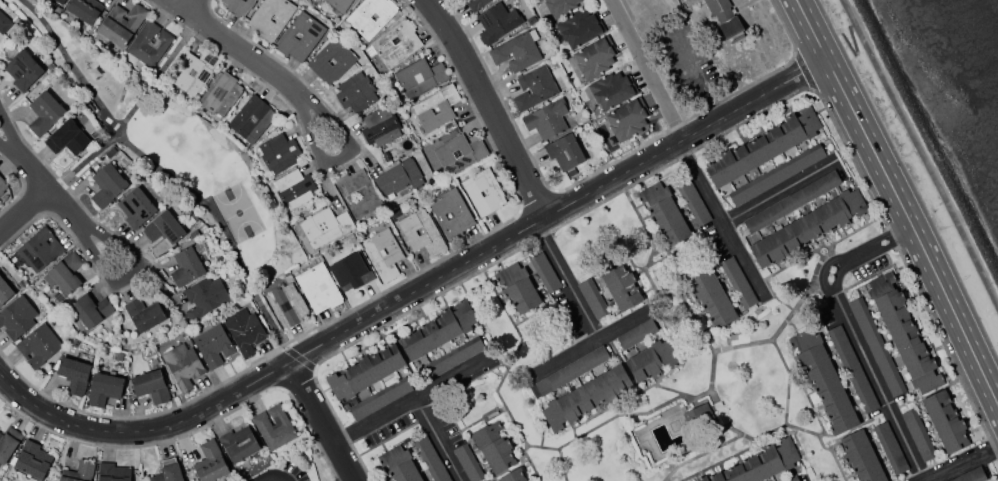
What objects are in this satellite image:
building: (60, 1)
road: (204, 3)
road: (190, 4)
building: (339, 4)
building: (476, 4)
building: (237, 6)
building: (560, 7)
building: (85, 9)
building: (371, 16)
building: (271, 17)
building: (726, 19)
building: (4, 21)
building: (122, 22)
building: (497, 22)
building: (579, 28)
building: (533, 34)
building: (300, 36)
building: (396, 43)
building: (149, 44)
road: (234, 44)
building: (516, 51)
building: (596, 57)
building: (318, 62)
building: (51, 66)
building: (23, 69)
road: (647, 69)
road: (803, 69)
building: (196, 71)
road: (699, 73)
building: (420, 76)
building: (537, 87)
building: (611, 89)
building: (356, 91)
building: (221, 92)
road: (489, 105)
building: (435, 109)
building: (45, 111)
road: (130, 111)
building: (252, 118)
building: (547, 118)
building: (627, 120)
building: (380, 126)
building: (68, 137)
building: (763, 146)
park: (174, 148)
building: (458, 152)
building: (564, 152)
building: (278, 153)
road: (339, 154)
road: (851, 157)
road: (605, 165)
road: (159, 169)
building: (413, 172)
building: (571, 172)
road: (326, 173)
building: (777, 174)
road: (39, 178)
building: (391, 178)
road: (22, 182)
building: (107, 184)
building: (2, 185)
building: (296, 190)
building: (484, 191)
road: (778, 192)
building: (359, 194)
building: (400, 195)
road: (33, 199)
building: (691, 199)
road: (536, 200)
building: (792, 201)
road: (899, 203)
building: (136, 207)
road: (23, 209)
park: (237, 211)
building: (663, 211)
building: (452, 212)
road: (720, 220)
building: (326, 226)
building: (163, 227)
building: (808, 227)
building: (421, 232)
building: (194, 233)
road: (892, 236)
building: (41, 248)
road: (813, 249)
building: (383, 253)
road: (504, 254)
road: (823, 256)
road: (149, 257)
building: (187, 266)
building: (352, 270)
building: (545, 270)
building: (64, 272)
road: (126, 274)
road: (648, 279)
road: (567, 280)
building: (738, 282)
building: (516, 283)
road: (810, 284)
building: (621, 285)
building: (318, 287)
building: (5, 291)
road: (415, 291)
building: (205, 297)
building: (592, 297)
building: (711, 297)
road: (365, 300)
building: (287, 304)
building: (91, 309)
building: (826, 312)
building: (144, 314)
road: (508, 315)
building: (17, 316)
building: (438, 330)
building: (245, 331)
building: (637, 333)
building: (904, 333)
road: (853, 334)
building: (129, 340)
building: (75, 342)
building: (111, 342)
building: (39, 344)
building: (214, 345)
road: (593, 345)
building: (876, 346)
road: (946, 351)
building: (118, 356)
road: (299, 357)
building: (453, 357)
building: (653, 359)
building: (183, 366)
building: (852, 368)
building: (571, 370)
building: (365, 371)
building: (75, 374)
road: (296, 378)
building: (151, 385)
building: (105, 388)
building: (828, 388)
road: (710, 391)
road: (786, 395)
building: (588, 396)
building: (381, 398)
road: (409, 403)
road: (507, 410)
building: (696, 411)
road: (615, 415)
building: (945, 421)
road: (323, 422)
building: (274, 426)
road: (193, 429)
building: (916, 430)
road: (440, 440)
building: (8, 442)
building: (239, 444)
building: (493, 445)
road: (541, 446)
building: (890, 448)
road: (699, 453)
building: (861, 456)
building: (431, 459)
building: (33, 460)
building: (268, 461)
road: (717, 461)
building: (211, 462)
building: (469, 463)
building: (759, 463)
road: (959, 463)
building: (260, 464)
building: (399, 464)
building: (79, 471)
building: (169, 471)
building: (113, 472)
road: (270, 475)
building: (970, 475)
building: (513, 476)
building: (791, 478)
road: (663, 479)

